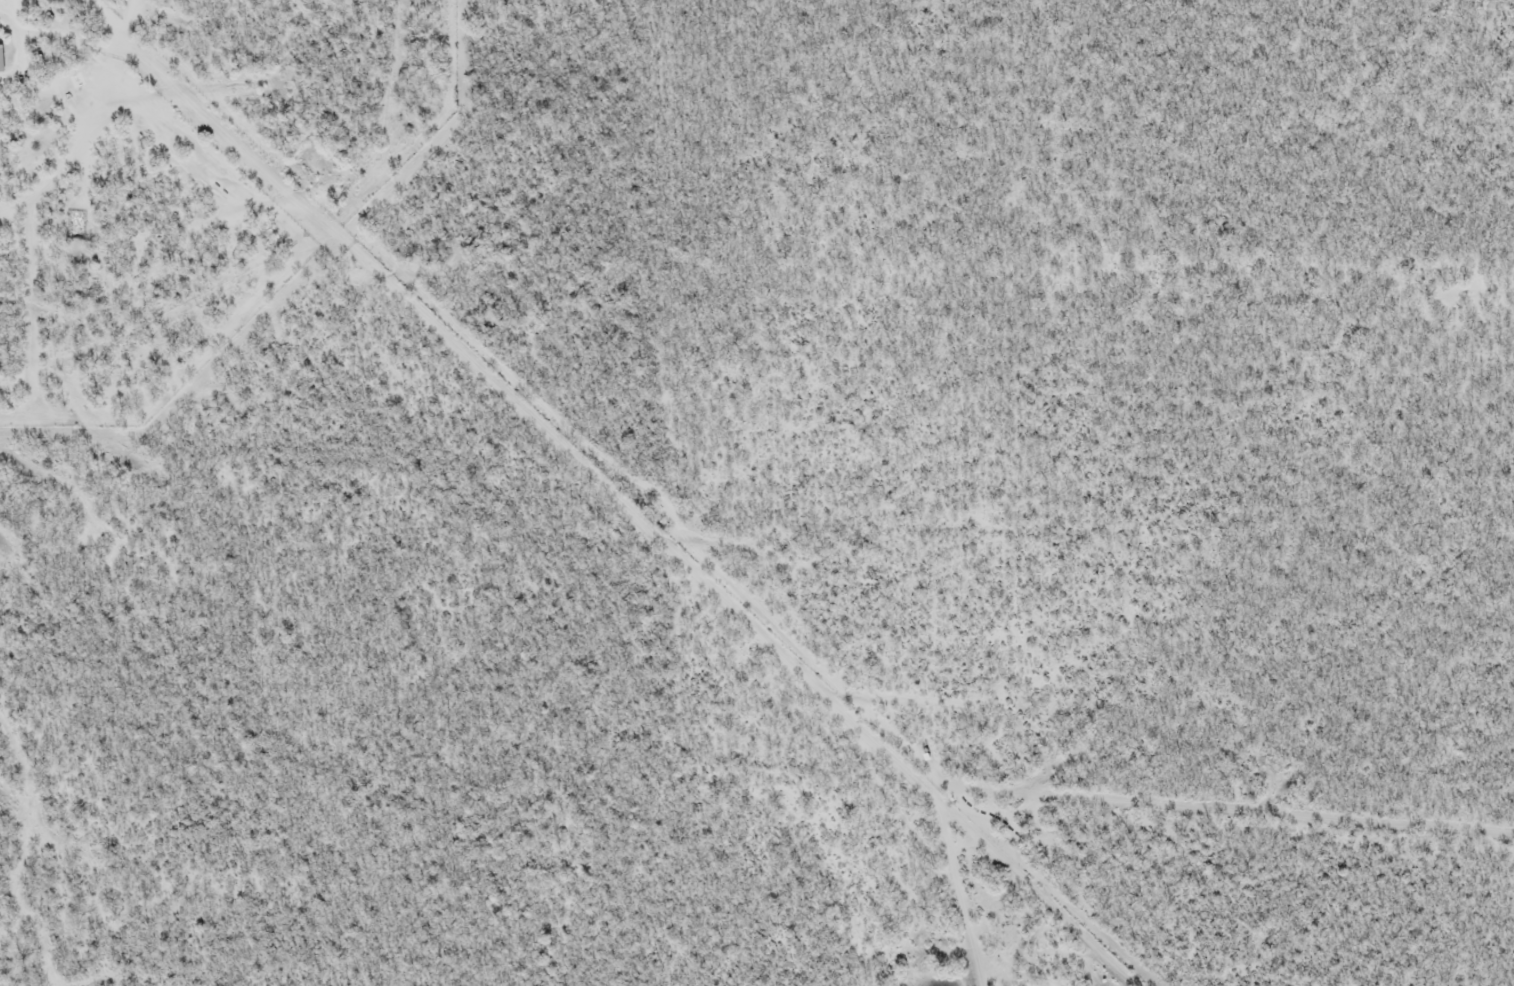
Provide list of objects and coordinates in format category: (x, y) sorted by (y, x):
building: (0, 55)

